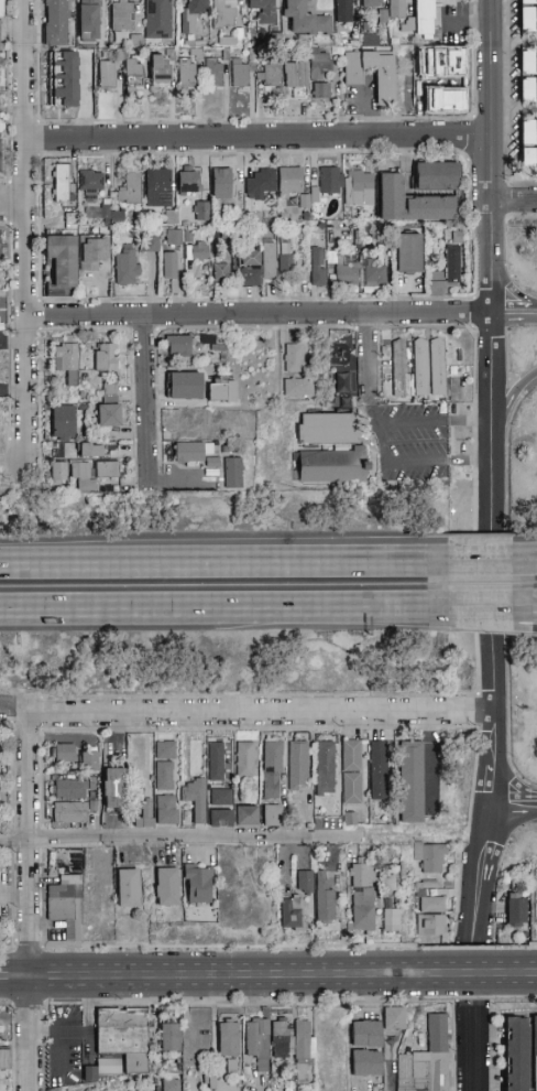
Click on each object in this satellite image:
building: (528, 1)
building: (371, 3)
building: (262, 10)
building: (396, 10)
building: (343, 11)
building: (190, 14)
building: (122, 15)
building: (224, 15)
building: (425, 15)
building: (157, 19)
building: (305, 19)
building: (528, 19)
building: (89, 20)
building: (55, 23)
building: (1, 30)
building: (370, 41)
building: (528, 62)
building: (320, 64)
building: (78, 67)
building: (160, 68)
building: (187, 73)
building: (213, 73)
building: (240, 73)
building: (61, 74)
building: (107, 74)
building: (271, 75)
building: (132, 76)
building: (384, 77)
building: (296, 79)
building: (320, 90)
building: (528, 90)
road: (368, 117)
building: (528, 133)
road: (257, 139)
building: (528, 159)
building: (437, 176)
building: (288, 181)
building: (330, 181)
building: (89, 182)
building: (62, 183)
building: (186, 183)
building: (221, 183)
building: (260, 183)
building: (157, 187)
building: (360, 188)
building: (130, 190)
road: (514, 201)
building: (410, 203)
road: (12, 206)
building: (200, 212)
road: (491, 214)
building: (113, 217)
building: (268, 219)
building: (70, 222)
road: (25, 238)
building: (174, 238)
building: (150, 244)
building: (198, 250)
building: (91, 252)
building: (409, 252)
building: (285, 257)
building: (451, 258)
building: (62, 259)
building: (268, 260)
building: (168, 266)
building: (127, 267)
building: (318, 268)
building: (249, 269)
building: (221, 273)
building: (347, 273)
building: (375, 274)
road: (509, 289)
road: (505, 303)
road: (509, 306)
road: (534, 306)
road: (257, 316)
road: (513, 323)
road: (473, 331)
building: (206, 337)
building: (177, 346)
road: (365, 356)
building: (105, 357)
road: (506, 357)
building: (294, 358)
building: (66, 363)
building: (429, 367)
building: (401, 368)
building: (341, 384)
building: (184, 386)
building: (298, 388)
road: (516, 389)
building: (110, 391)
building: (221, 391)
road: (509, 397)
road: (141, 399)
building: (107, 415)
building: (182, 422)
building: (62, 424)
building: (327, 429)
road: (474, 433)
building: (90, 451)
building: (190, 451)
building: (210, 462)
road: (506, 462)
building: (331, 467)
building: (107, 469)
building: (57, 472)
building: (83, 479)
road: (535, 543)
road: (480, 549)
road: (374, 559)
road: (535, 559)
road: (480, 561)
road: (374, 563)
road: (161, 566)
road: (475, 583)
road: (506, 584)
road: (531, 609)
road: (478, 611)
road: (383, 612)
road: (168, 613)
road: (383, 617)
road: (481, 628)
road: (535, 633)
road: (476, 665)
road: (259, 696)
road: (507, 704)
road: (12, 709)
road: (260, 711)
road: (478, 711)
road: (40, 713)
road: (6, 720)
road: (24, 726)
road: (259, 728)
building: (136, 748)
building: (63, 753)
road: (427, 754)
building: (245, 759)
road: (493, 759)
building: (88, 760)
building: (216, 760)
building: (165, 766)
building: (298, 766)
building: (325, 767)
building: (272, 769)
building: (379, 770)
building: (351, 771)
road: (505, 773)
road: (509, 776)
road: (10, 778)
road: (41, 780)
building: (410, 782)
building: (70, 788)
building: (114, 789)
building: (221, 797)
road: (533, 797)
building: (195, 798)
road: (509, 798)
road: (506, 810)
building: (157, 812)
building: (70, 813)
building: (246, 815)
building: (271, 815)
road: (514, 815)
building: (220, 819)
road: (177, 835)
road: (502, 835)
road: (464, 836)
road: (42, 838)
road: (10, 841)
building: (431, 856)
road: (501, 858)
building: (386, 879)
building: (304, 882)
building: (197, 884)
building: (166, 887)
building: (128, 888)
road: (11, 895)
building: (64, 895)
road: (42, 897)
building: (363, 897)
building: (324, 899)
building: (434, 900)
road: (29, 901)
road: (492, 910)
building: (516, 912)
building: (291, 914)
building: (392, 920)
building: (430, 926)
road: (28, 943)
road: (531, 944)
road: (9, 947)
road: (228, 947)
road: (414, 947)
road: (472, 948)
road: (453, 973)
road: (491, 973)
road: (479, 975)
road: (530, 975)
road: (216, 976)
road: (471, 997)
road: (530, 1000)
road: (412, 1001)
road: (534, 1001)
road: (222, 1003)
road: (6, 1005)
road: (26, 1008)
building: (393, 1018)
road: (42, 1026)
building: (228, 1035)
building: (364, 1035)
building: (123, 1036)
building: (535, 1036)
building: (171, 1037)
building: (281, 1038)
building: (256, 1041)
road: (452, 1047)
road: (490, 1047)
road: (11, 1048)
building: (303, 1048)
building: (517, 1054)
building: (4, 1057)
building: (427, 1060)
building: (228, 1063)
building: (364, 1063)
road: (43, 1065)
building: (106, 1065)
building: (171, 1085)

